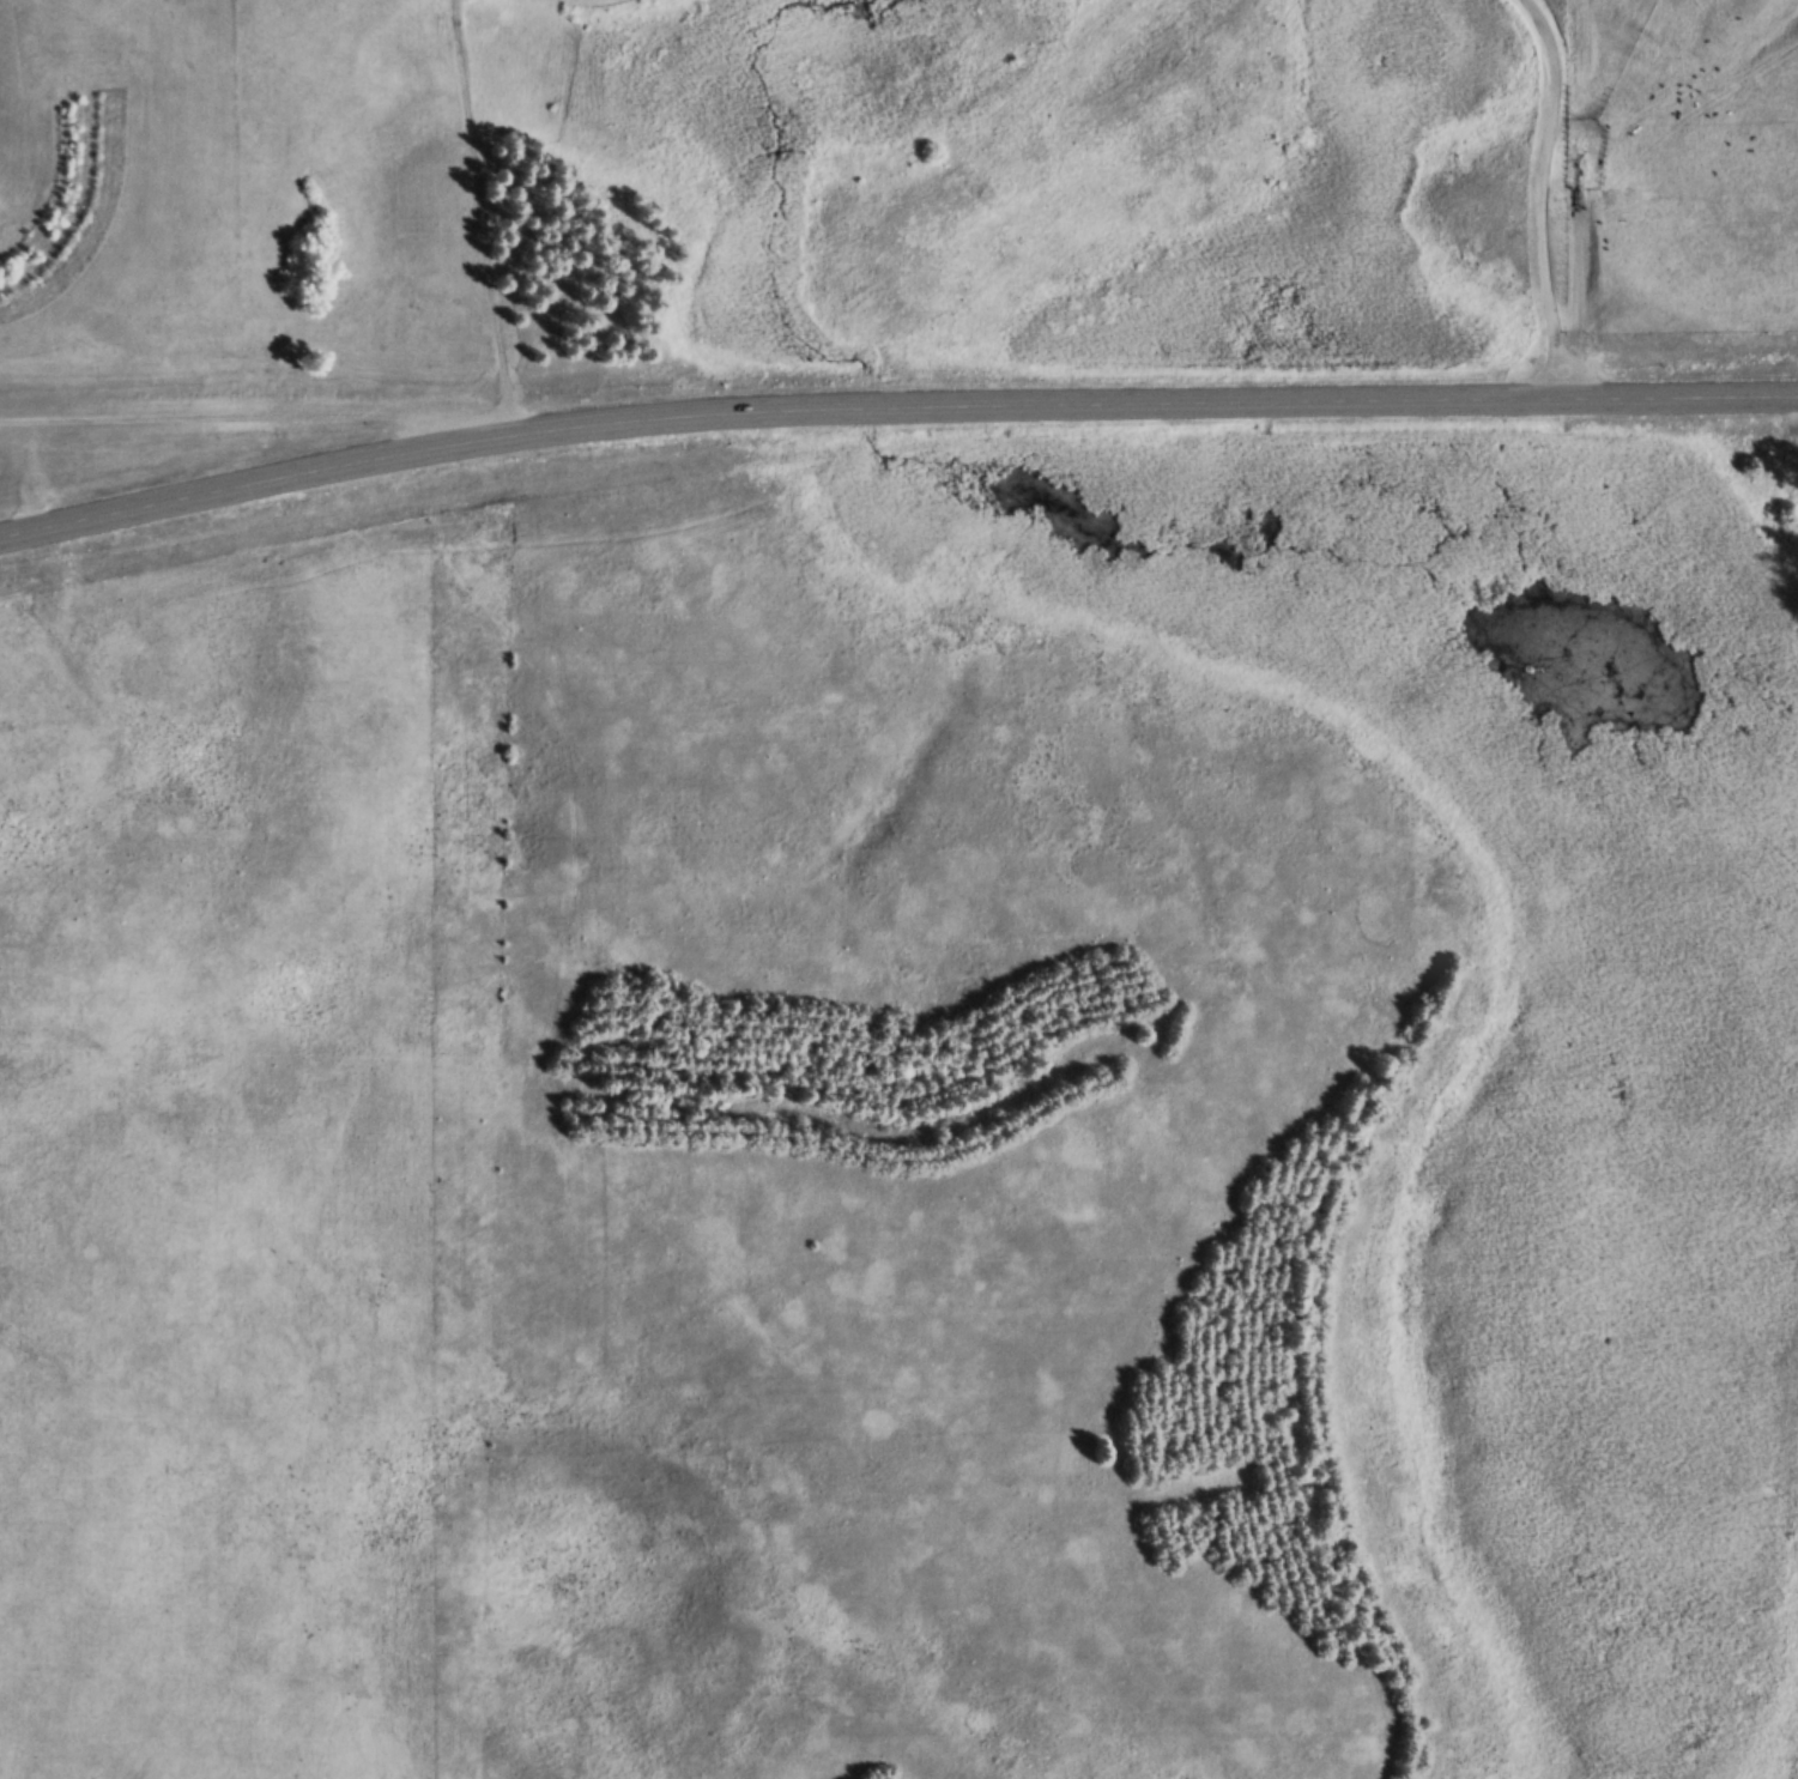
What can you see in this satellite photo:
road: (1551, 196)
road: (892, 413)
road: (235, 424)
road: (496, 432)

